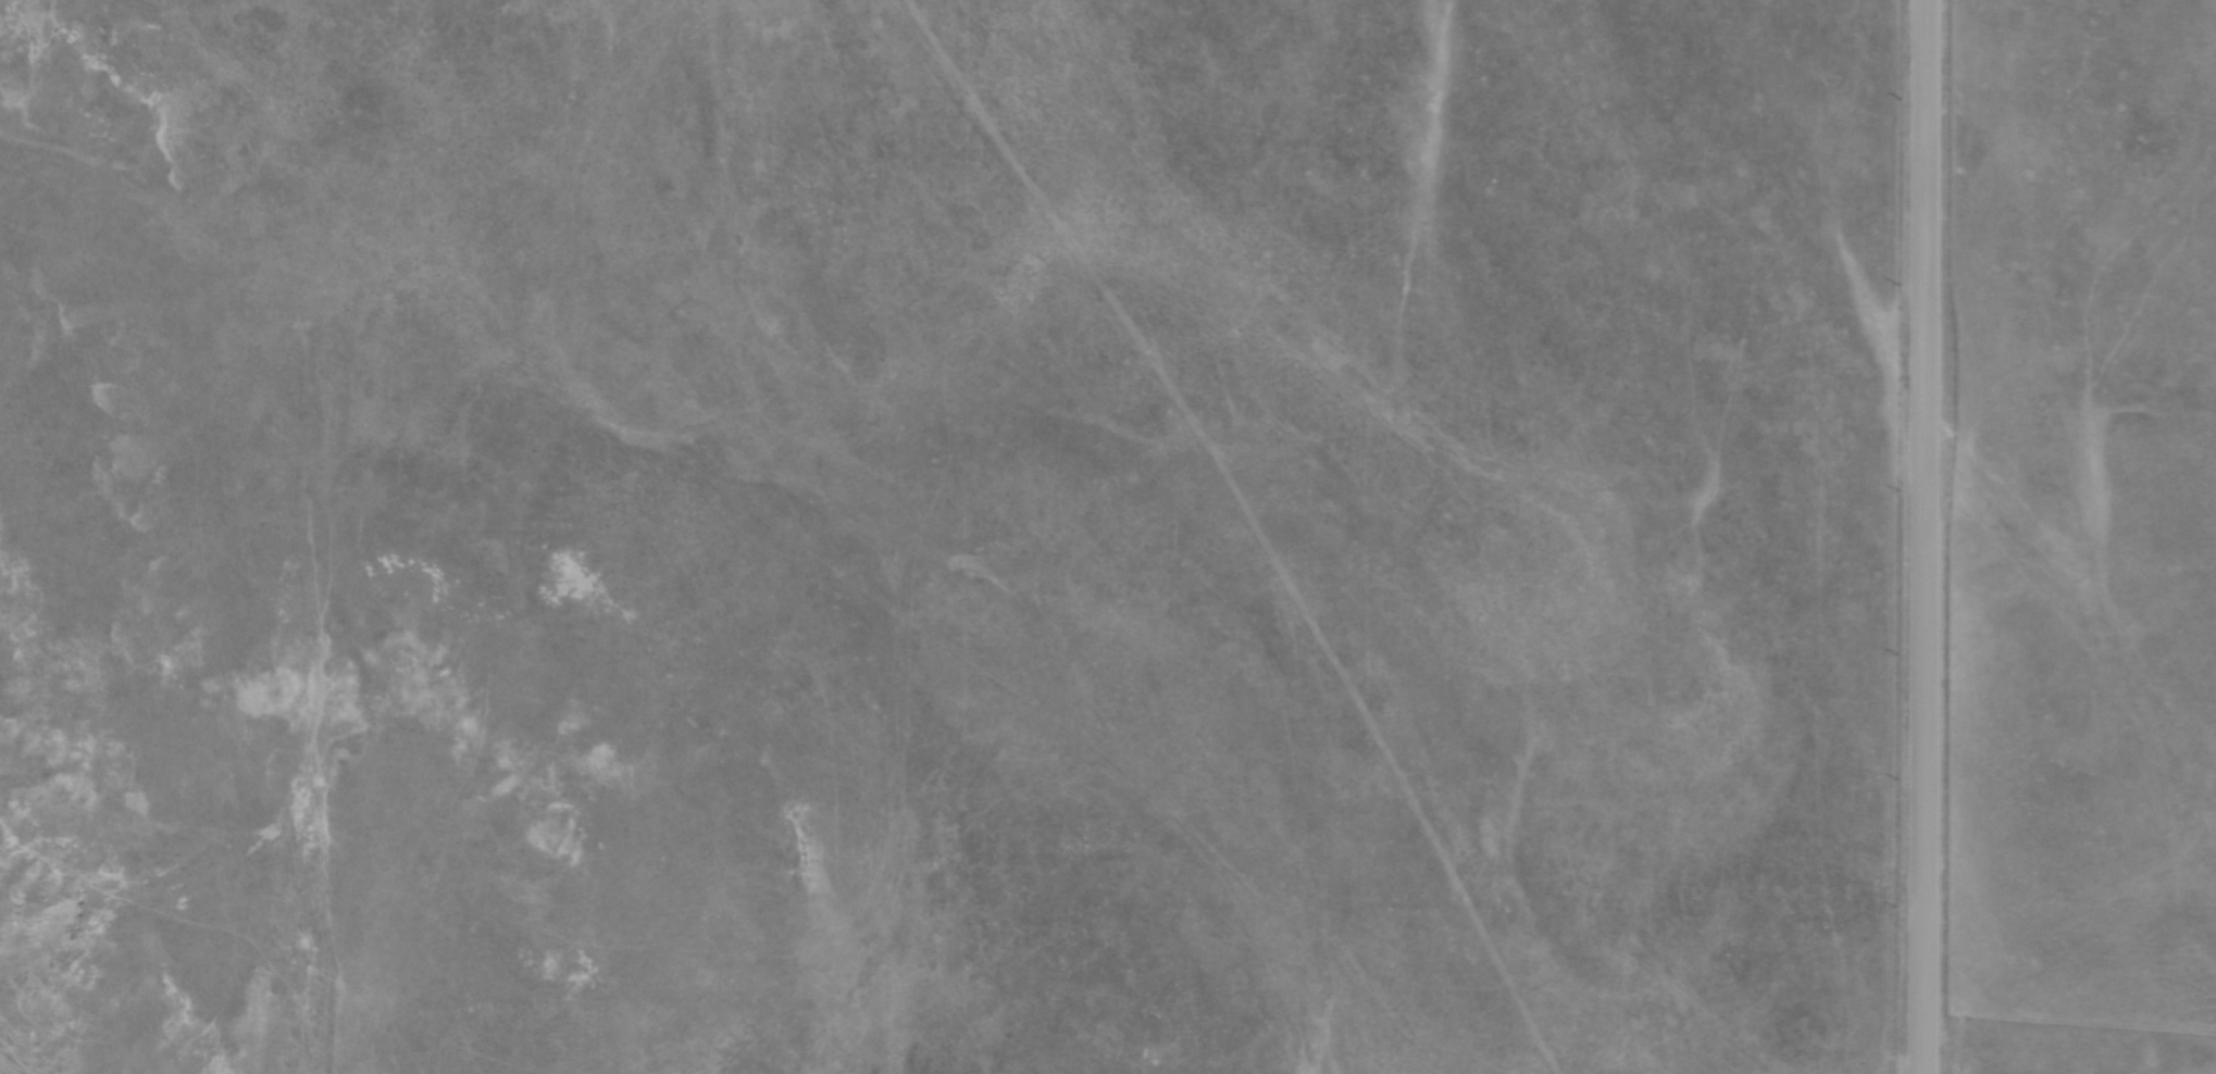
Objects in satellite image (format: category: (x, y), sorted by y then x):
road: (1930, 537)

